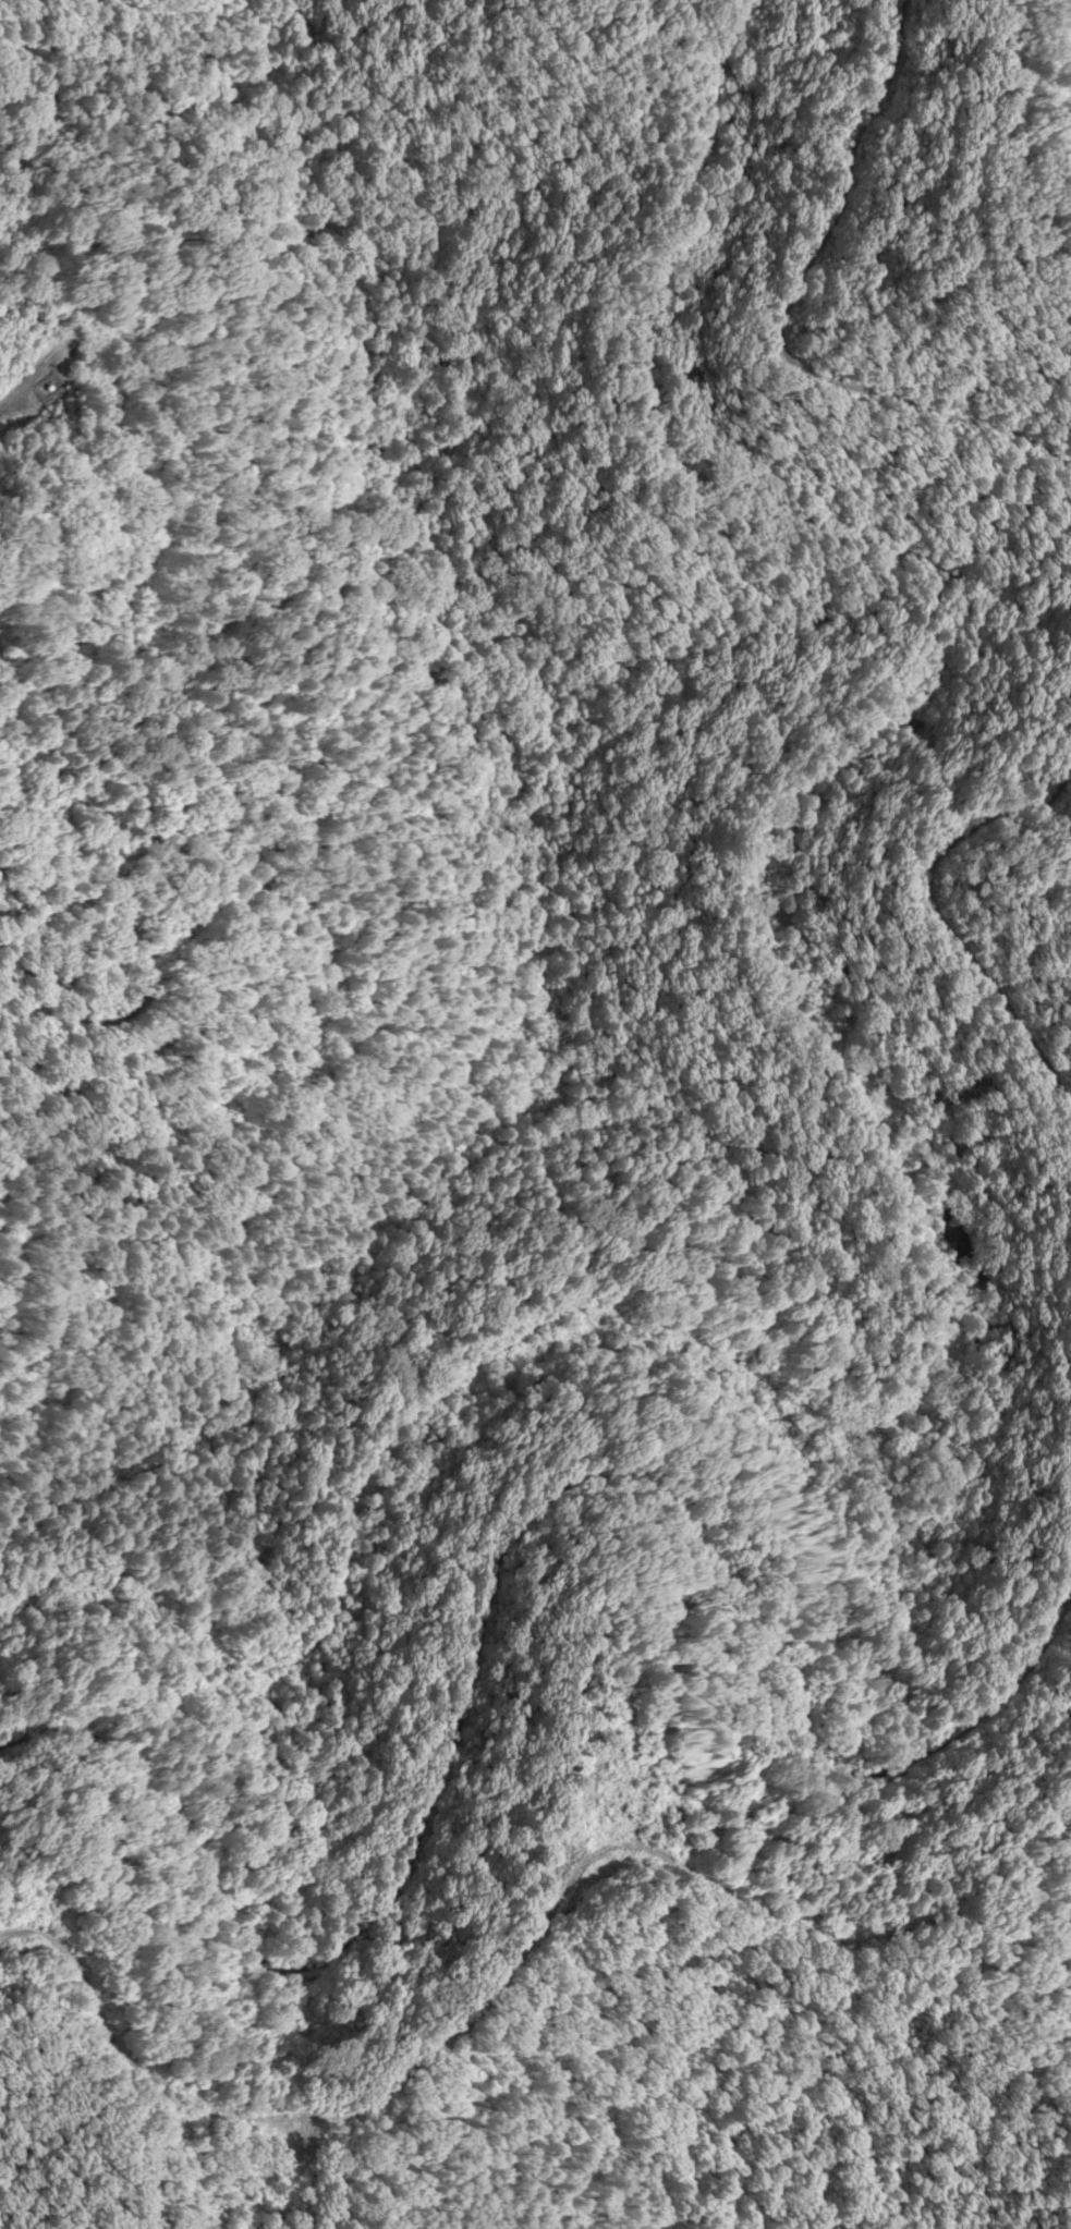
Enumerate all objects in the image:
road: (593, 2154)

